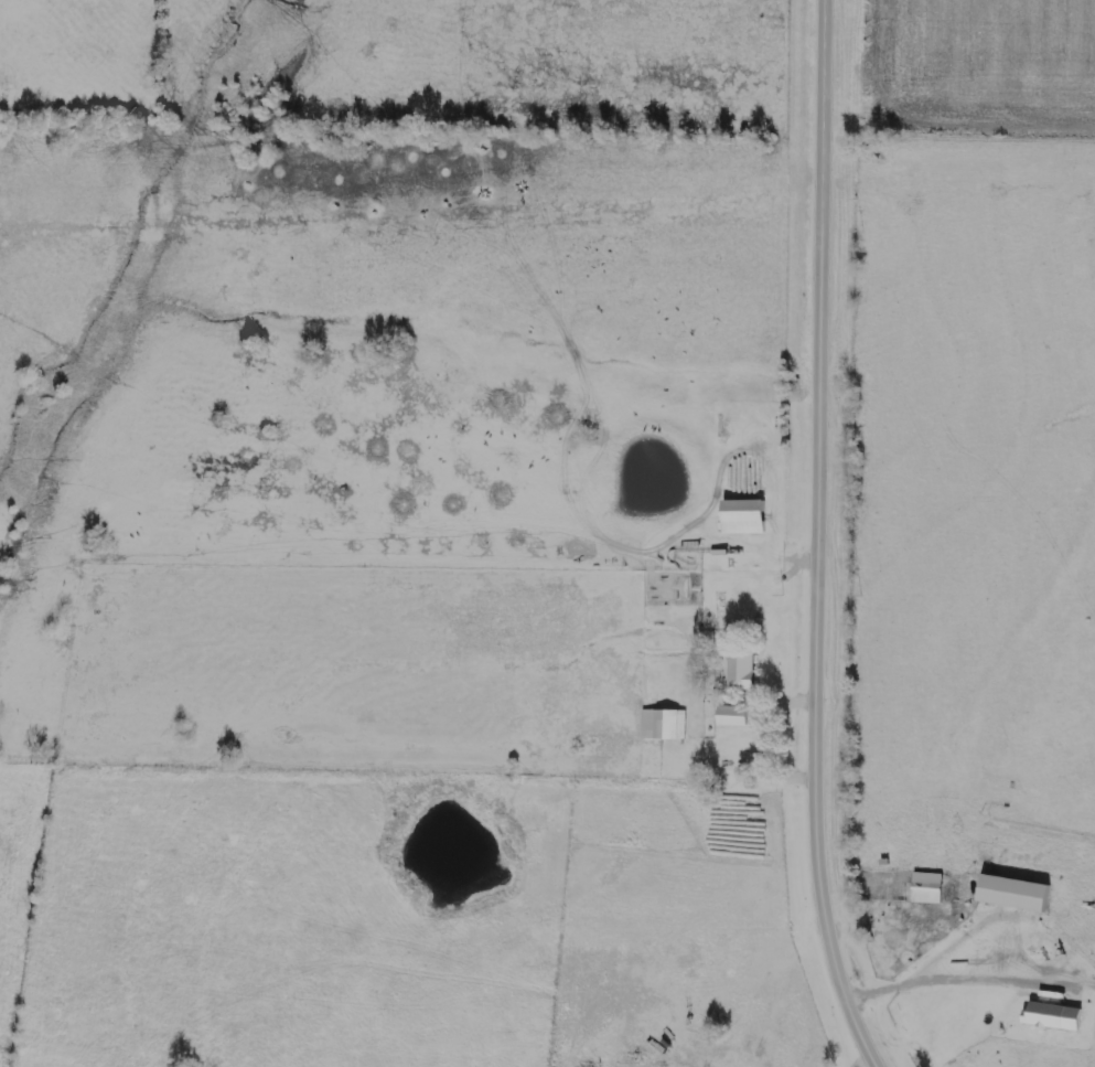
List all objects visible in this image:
building: (744, 518)
road: (816, 538)
building: (741, 672)
road: (790, 694)
building: (732, 717)
building: (663, 725)
building: (872, 889)
building: (927, 889)
building: (1016, 895)
building: (1054, 1017)
road: (865, 1061)

